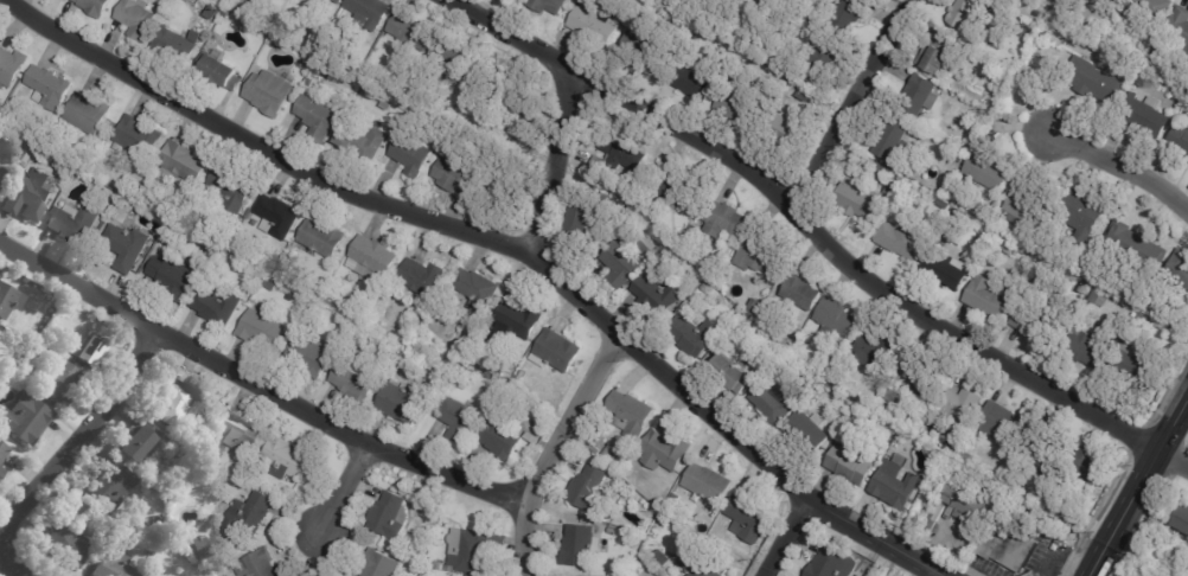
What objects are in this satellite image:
building: (330, 1)
building: (1110, 1)
building: (548, 6)
building: (94, 7)
building: (237, 7)
building: (1149, 8)
building: (766, 9)
building: (967, 13)
building: (225, 14)
building: (370, 15)
building: (850, 15)
building: (136, 19)
building: (625, 20)
building: (592, 26)
building: (1179, 27)
building: (411, 33)
building: (174, 46)
building: (938, 53)
building: (643, 55)
building: (449, 59)
building: (822, 63)
building: (11, 65)
building: (371, 69)
building: (221, 73)
building: (690, 78)
building: (1094, 79)
building: (49, 82)
building: (791, 84)
building: (270, 91)
building: (920, 97)
road: (850, 102)
building: (736, 107)
building: (87, 113)
building: (1145, 115)
building: (317, 119)
building: (783, 130)
building: (138, 135)
building: (8, 136)
building: (1180, 139)
building: (893, 140)
building: (363, 141)
building: (411, 153)
building: (618, 160)
building: (181, 161)
road: (554, 165)
building: (986, 166)
road: (1117, 166)
building: (1, 171)
building: (884, 171)
building: (454, 174)
building: (898, 179)
building: (505, 181)
building: (665, 186)
building: (231, 187)
building: (892, 190)
building: (27, 193)
building: (858, 201)
building: (1018, 205)
building: (944, 206)
building: (276, 216)
building: (1084, 217)
building: (586, 219)
building: (74, 222)
building: (724, 222)
building: (234, 226)
road: (816, 236)
building: (320, 237)
building: (903, 239)
building: (124, 244)
road: (500, 245)
building: (649, 247)
building: (200, 249)
building: (1007, 249)
building: (1132, 254)
building: (371, 258)
building: (759, 260)
building: (621, 265)
building: (1180, 269)
building: (945, 271)
building: (171, 276)
building: (421, 276)
building: (270, 284)
building: (475, 288)
building: (705, 289)
building: (657, 293)
building: (801, 294)
building: (289, 296)
building: (8, 299)
building: (989, 299)
building: (1100, 299)
building: (327, 301)
building: (216, 305)
building: (754, 308)
building: (1084, 312)
building: (439, 318)
building: (836, 319)
building: (1128, 320)
building: (1026, 322)
building: (513, 325)
building: (261, 329)
building: (695, 337)
building: (88, 350)
building: (556, 350)
building: (1086, 350)
building: (307, 353)
building: (871, 353)
building: (1137, 364)
building: (520, 375)
building: (922, 376)
building: (355, 377)
building: (732, 377)
building: (58, 380)
road: (253, 388)
building: (893, 398)
building: (401, 402)
building: (177, 404)
building: (774, 404)
building: (962, 407)
building: (210, 411)
building: (631, 416)
building: (25, 417)
building: (458, 418)
building: (539, 422)
building: (1003, 423)
building: (538, 430)
building: (238, 433)
building: (806, 434)
building: (499, 435)
building: (935, 436)
building: (532, 437)
building: (1040, 439)
building: (138, 440)
building: (952, 447)
road: (550, 450)
building: (2, 452)
building: (184, 452)
building: (595, 452)
road: (69, 453)
building: (608, 453)
building: (665, 453)
building: (966, 457)
building: (285, 460)
building: (850, 467)
building: (1088, 468)
building: (1, 471)
building: (1052, 474)
building: (111, 484)
building: (708, 485)
road: (1136, 487)
building: (893, 488)
building: (588, 491)
road: (350, 495)
building: (964, 500)
building: (249, 514)
building: (388, 516)
building: (935, 519)
building: (747, 520)
building: (1179, 525)
road: (781, 537)
building: (990, 538)
building: (149, 539)
building: (68, 544)
building: (200, 546)
building: (580, 548)
building: (1014, 549)
building: (470, 550)
building: (147, 551)
building: (959, 556)
building: (659, 558)
parking lot: (1033, 559)
building: (826, 562)
building: (114, 564)
building: (257, 564)
building: (379, 564)
building: (434, 564)
building: (697, 567)
building: (448, 568)
parking lot: (989, 568)
road: (926, 572)
building: (1033, 574)

